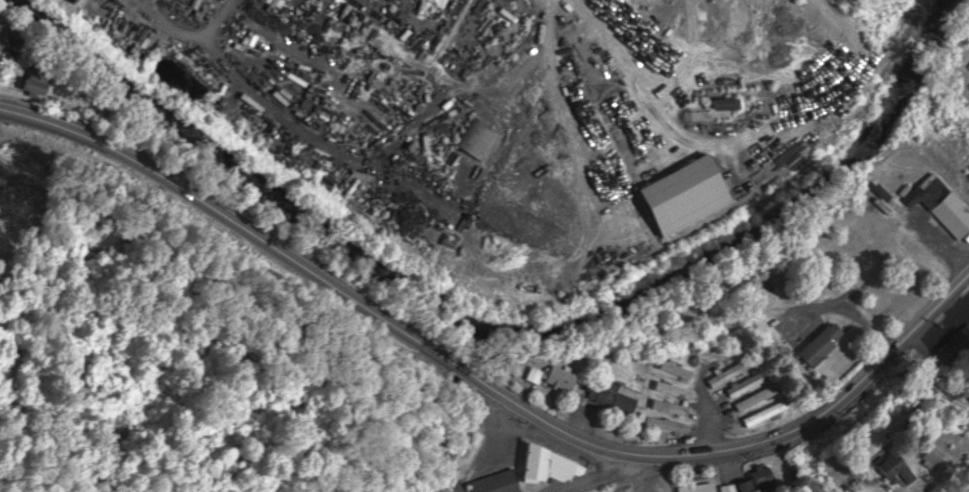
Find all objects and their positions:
building: (78, 0)
building: (399, 2)
building: (41, 86)
building: (480, 137)
building: (943, 203)
river: (499, 337)
building: (826, 343)
building: (557, 377)
road: (486, 382)
building: (617, 395)
road: (930, 396)
road: (55, 452)
building: (459, 455)
building: (551, 465)
road: (600, 472)
building: (498, 482)
building: (748, 485)
building: (699, 487)

